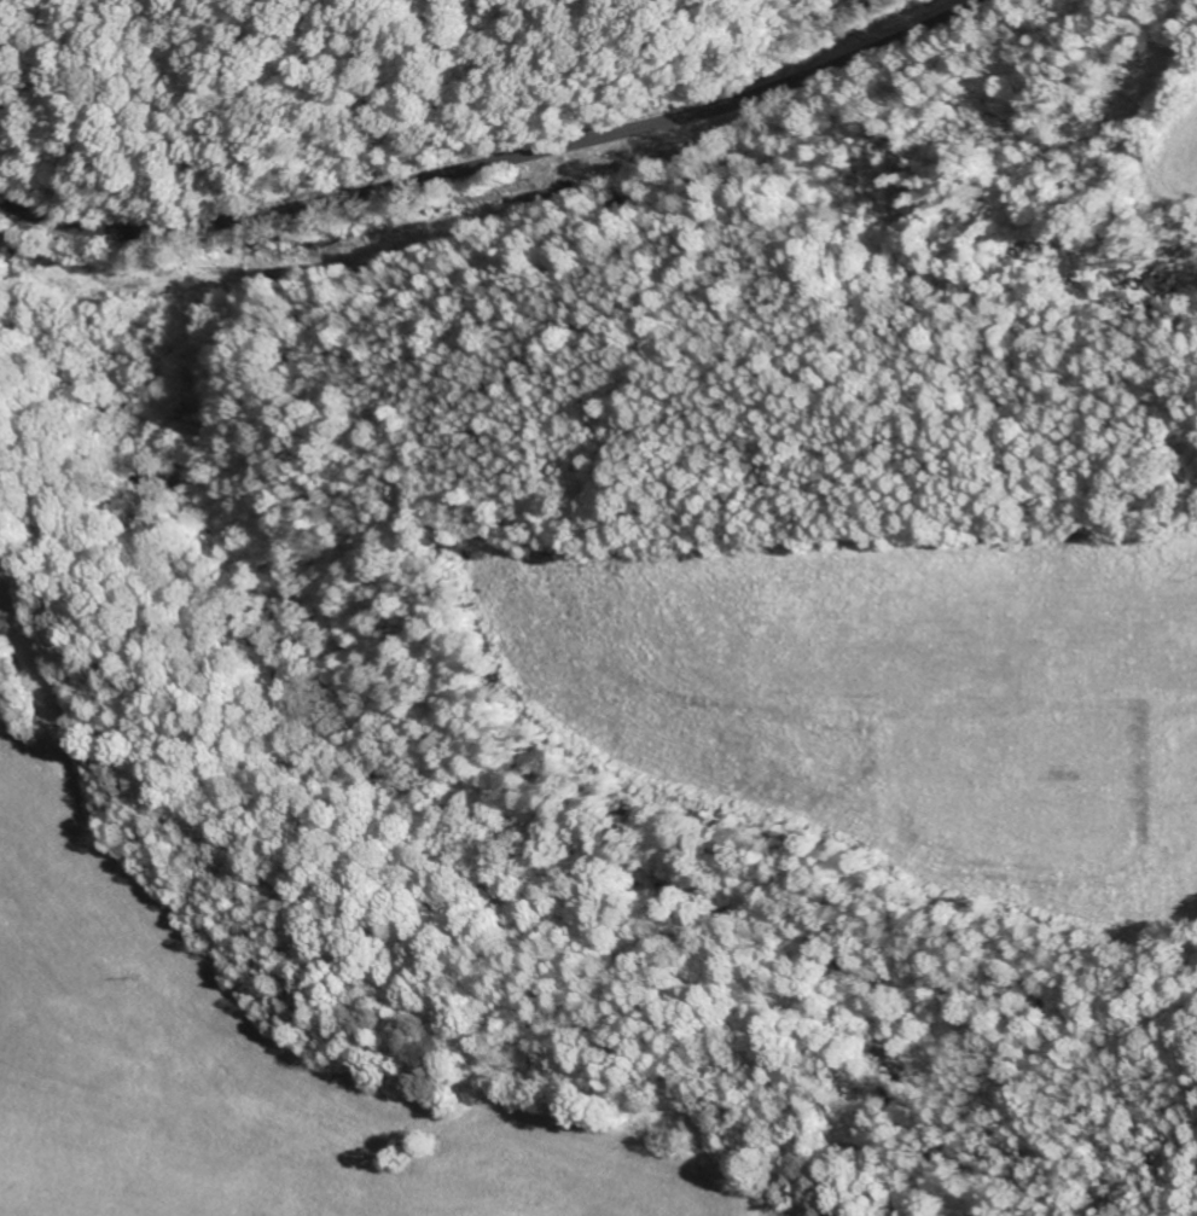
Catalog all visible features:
road: (505, 155)

